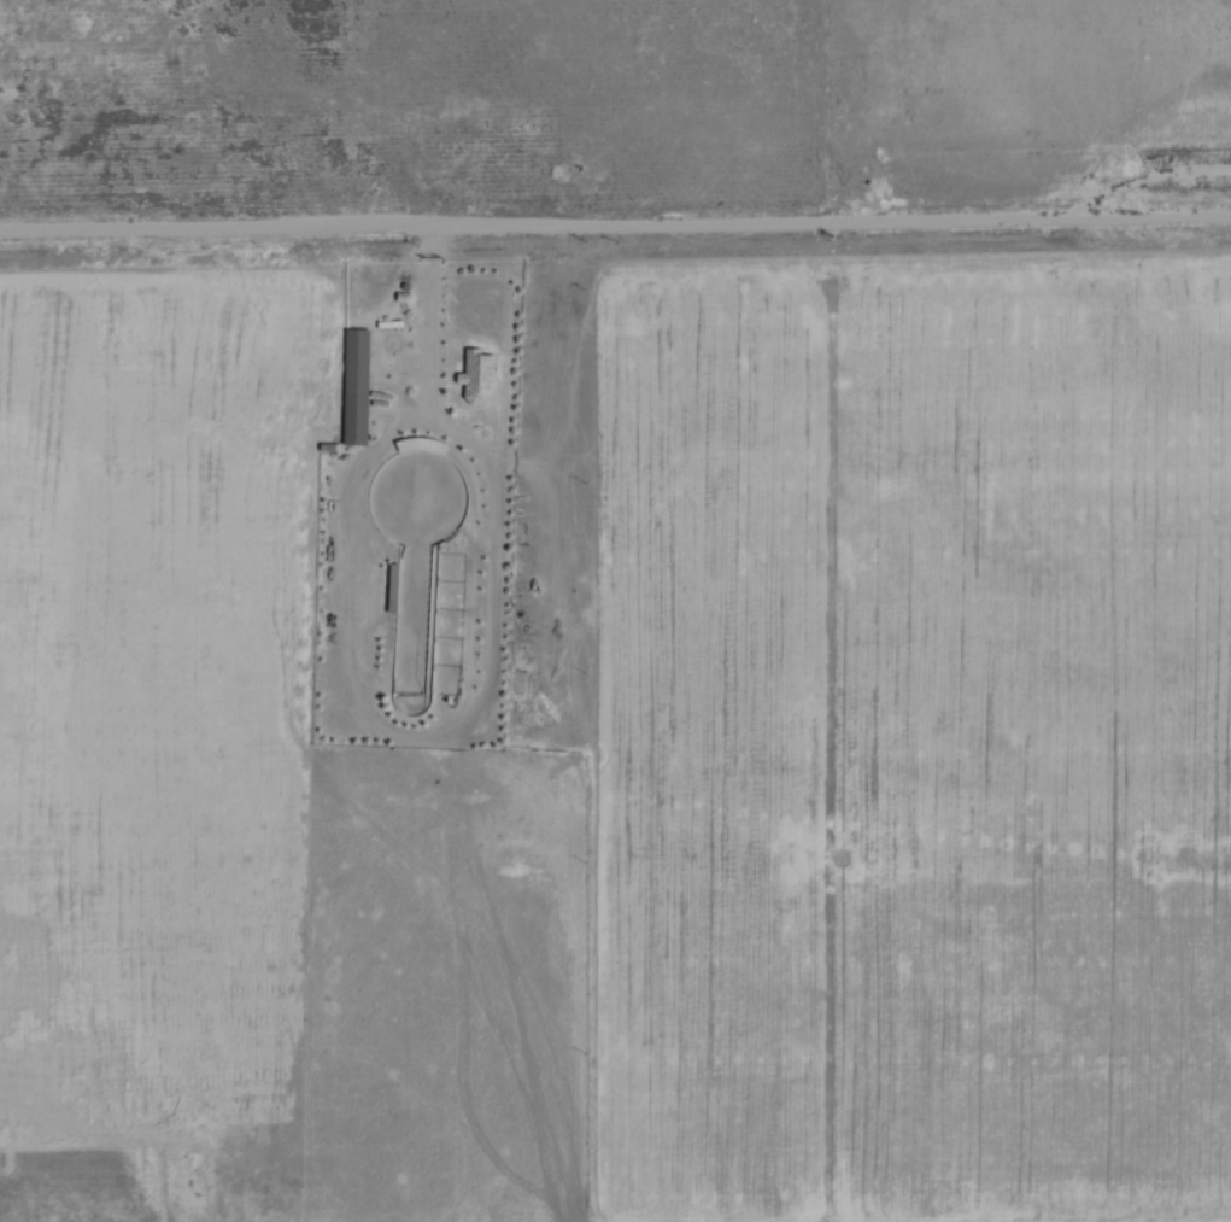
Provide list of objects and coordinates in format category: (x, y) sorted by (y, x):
road: (615, 240)
building: (479, 379)
building: (357, 387)

